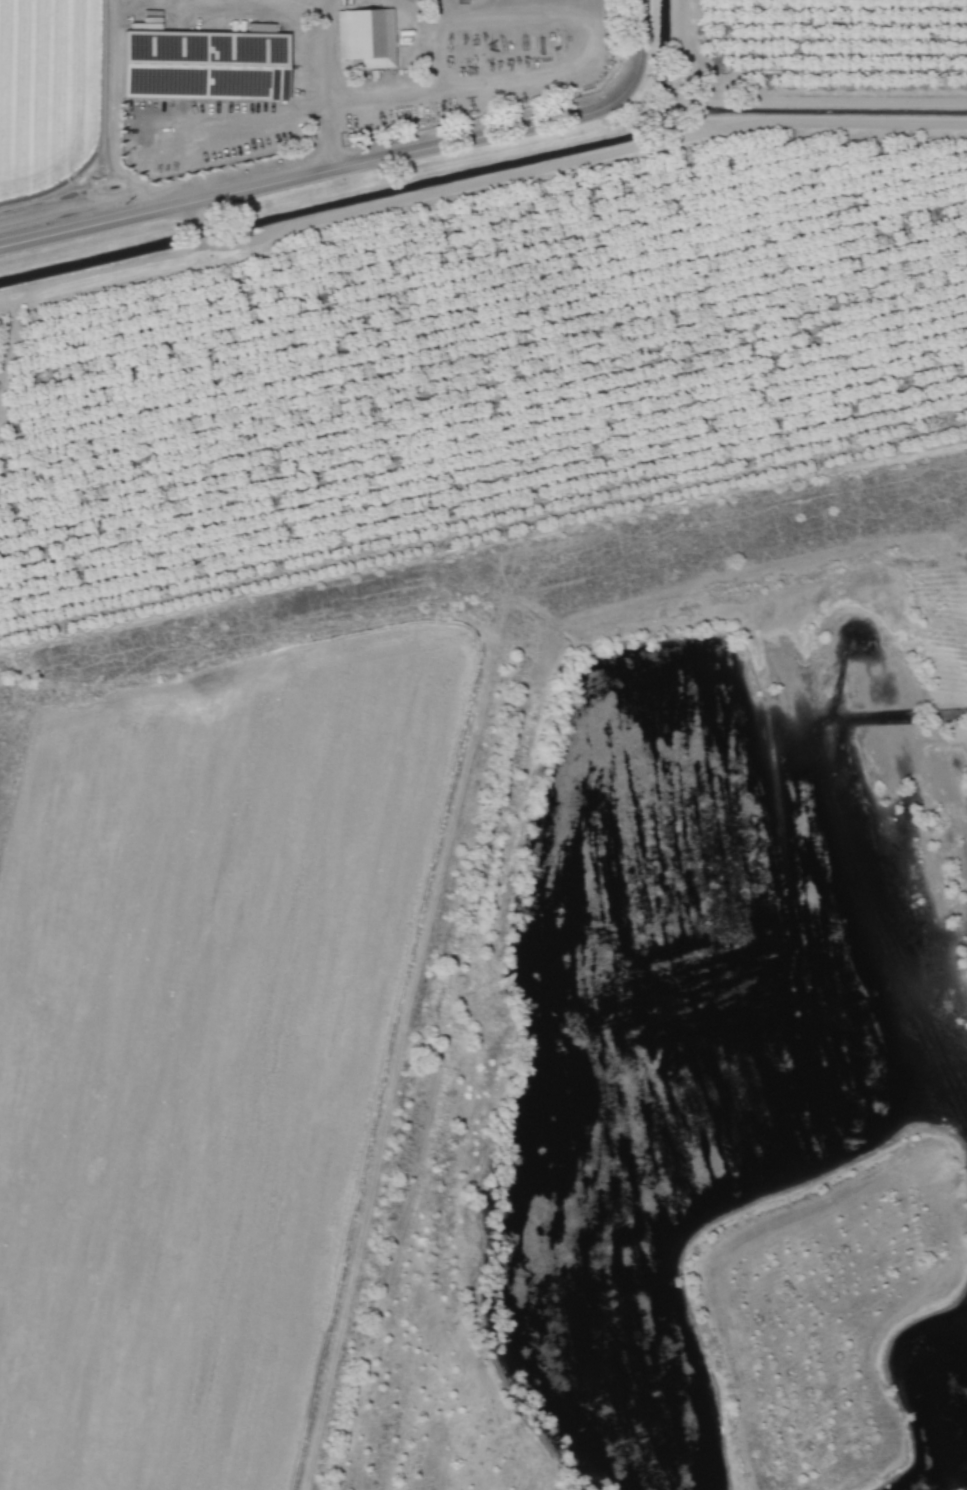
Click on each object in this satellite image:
building: (259, 27)
building: (365, 38)
building: (202, 64)
road: (488, 78)
road: (323, 86)
road: (361, 164)

